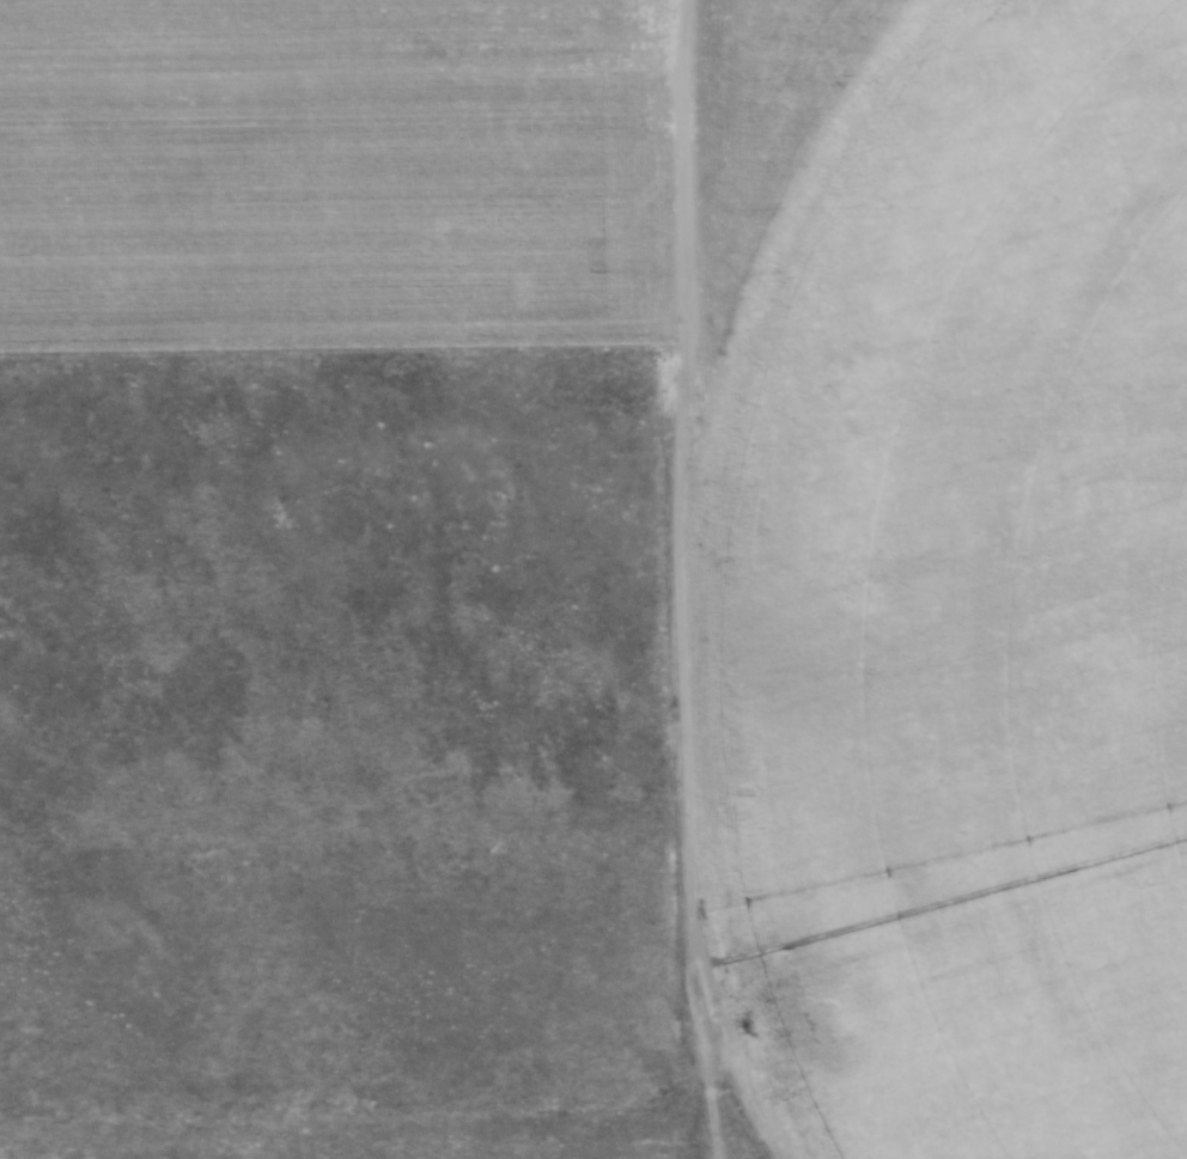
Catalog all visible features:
crop: (762, 452)

